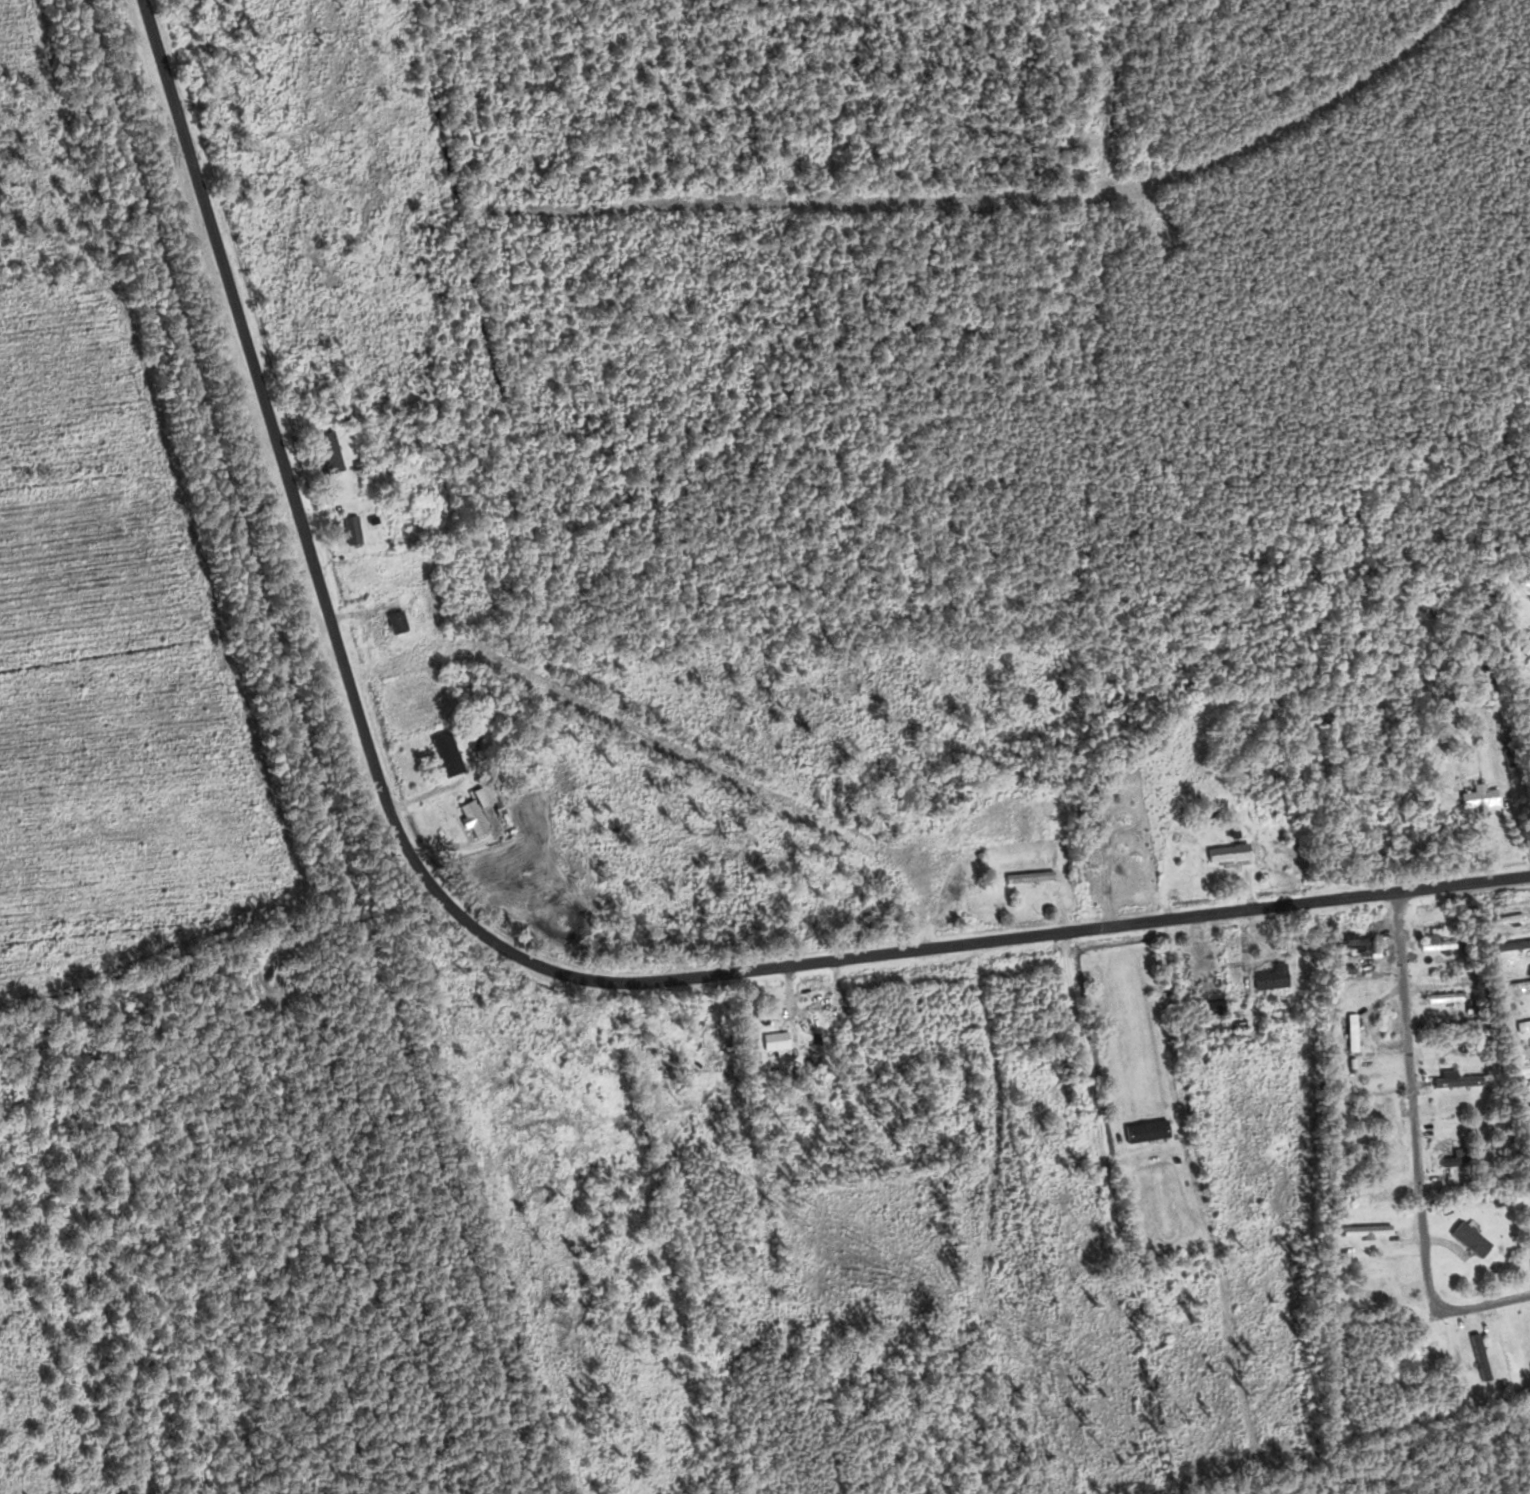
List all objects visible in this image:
road: (1012, 194)
building: (337, 456)
road: (292, 489)
building: (357, 531)
building: (1524, 580)
building: (402, 622)
building: (1524, 644)
building: (453, 754)
building: (1475, 798)
building: (487, 817)
building: (1223, 853)
building: (1036, 876)
road: (1011, 939)
building: (1350, 943)
building: (1433, 944)
building: (1266, 976)
building: (1517, 984)
building: (1206, 1003)
building: (1520, 1024)
building: (782, 1041)
building: (1524, 1067)
building: (1452, 1081)
building: (1525, 1106)
building: (1153, 1130)
road: (1419, 1145)
building: (1362, 1229)

